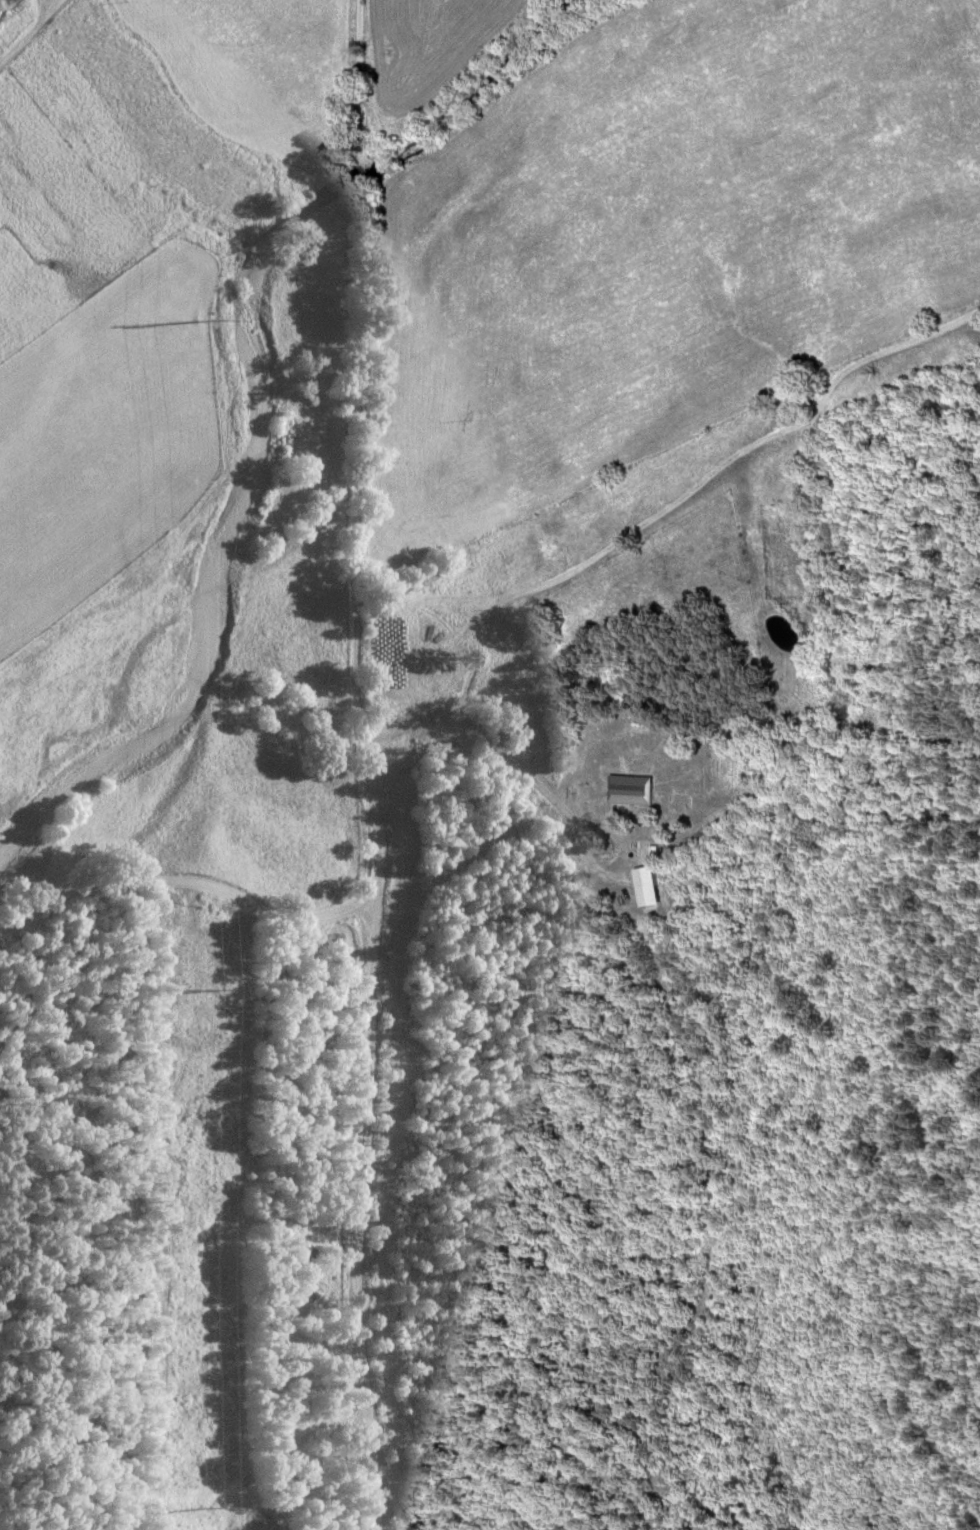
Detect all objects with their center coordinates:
road: (31, 32)
power tower: (200, 323)
road: (365, 457)
building: (632, 789)
road: (184, 888)
power tower: (204, 994)
road: (366, 1222)
power tower: (207, 1510)

